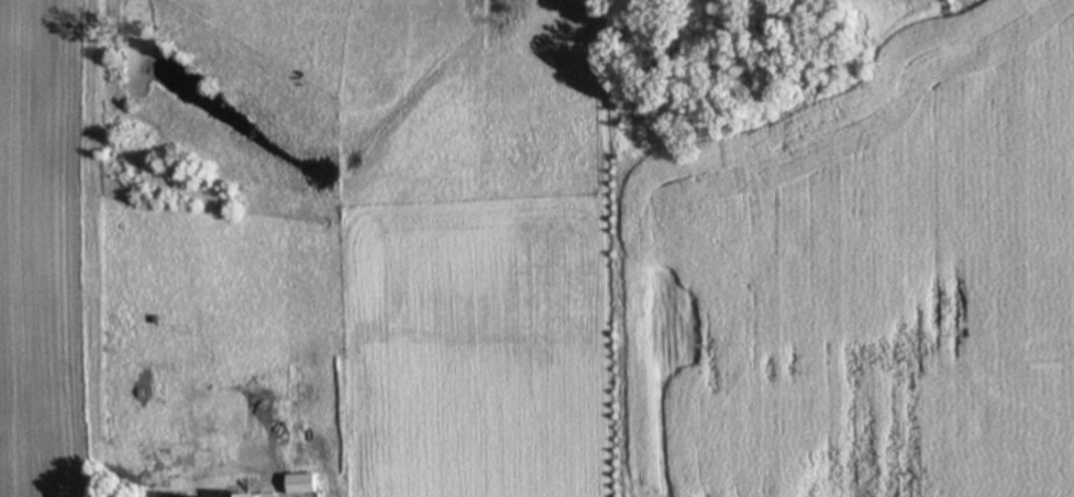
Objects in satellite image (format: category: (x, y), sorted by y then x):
building: (308, 486)

